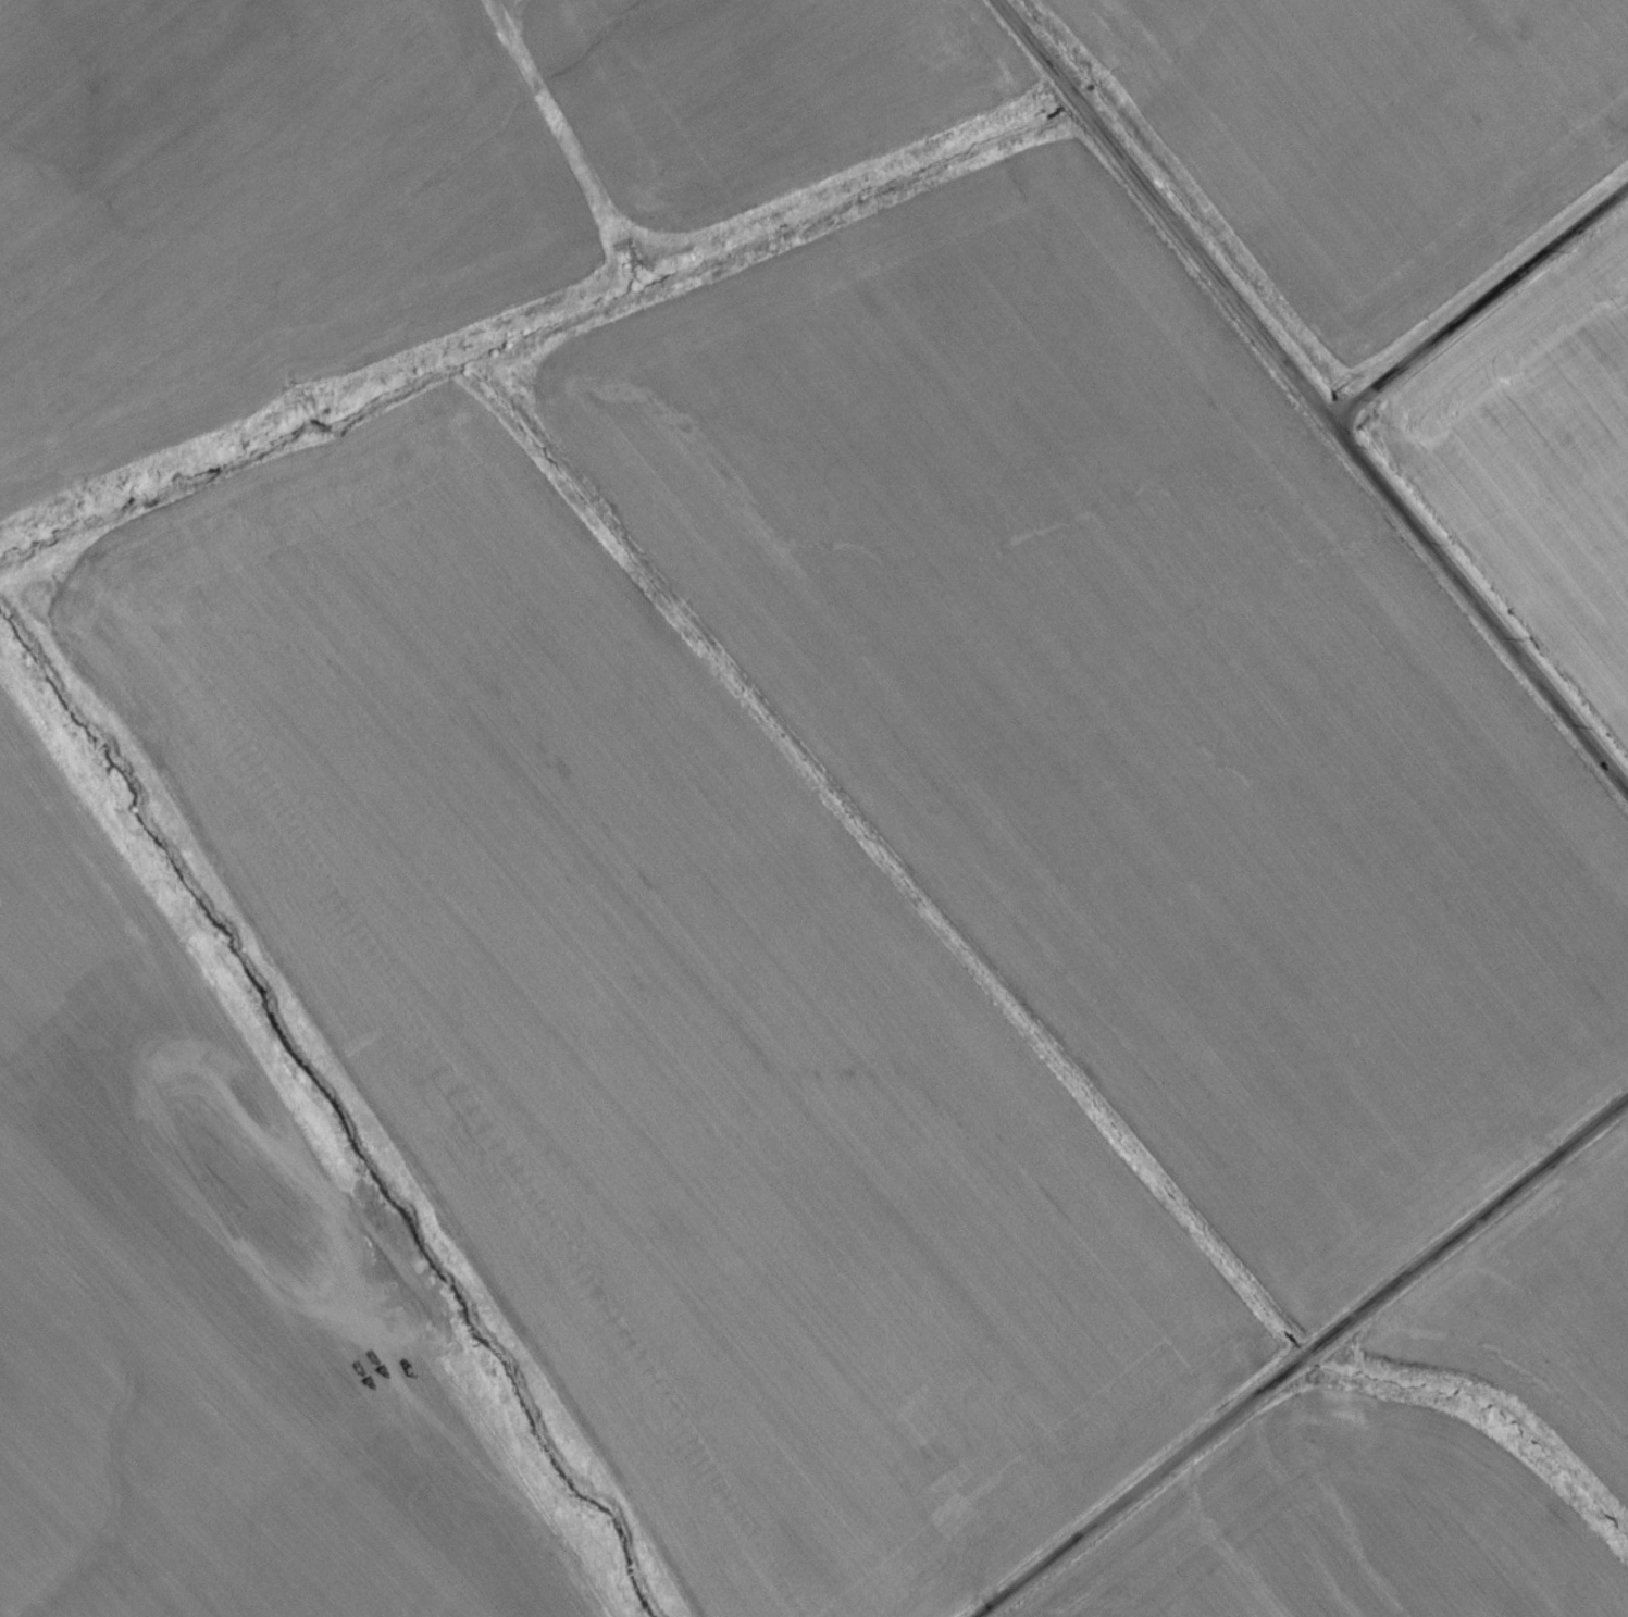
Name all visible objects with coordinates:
road: (1482, 316)
road: (1313, 401)
road: (1303, 1353)

